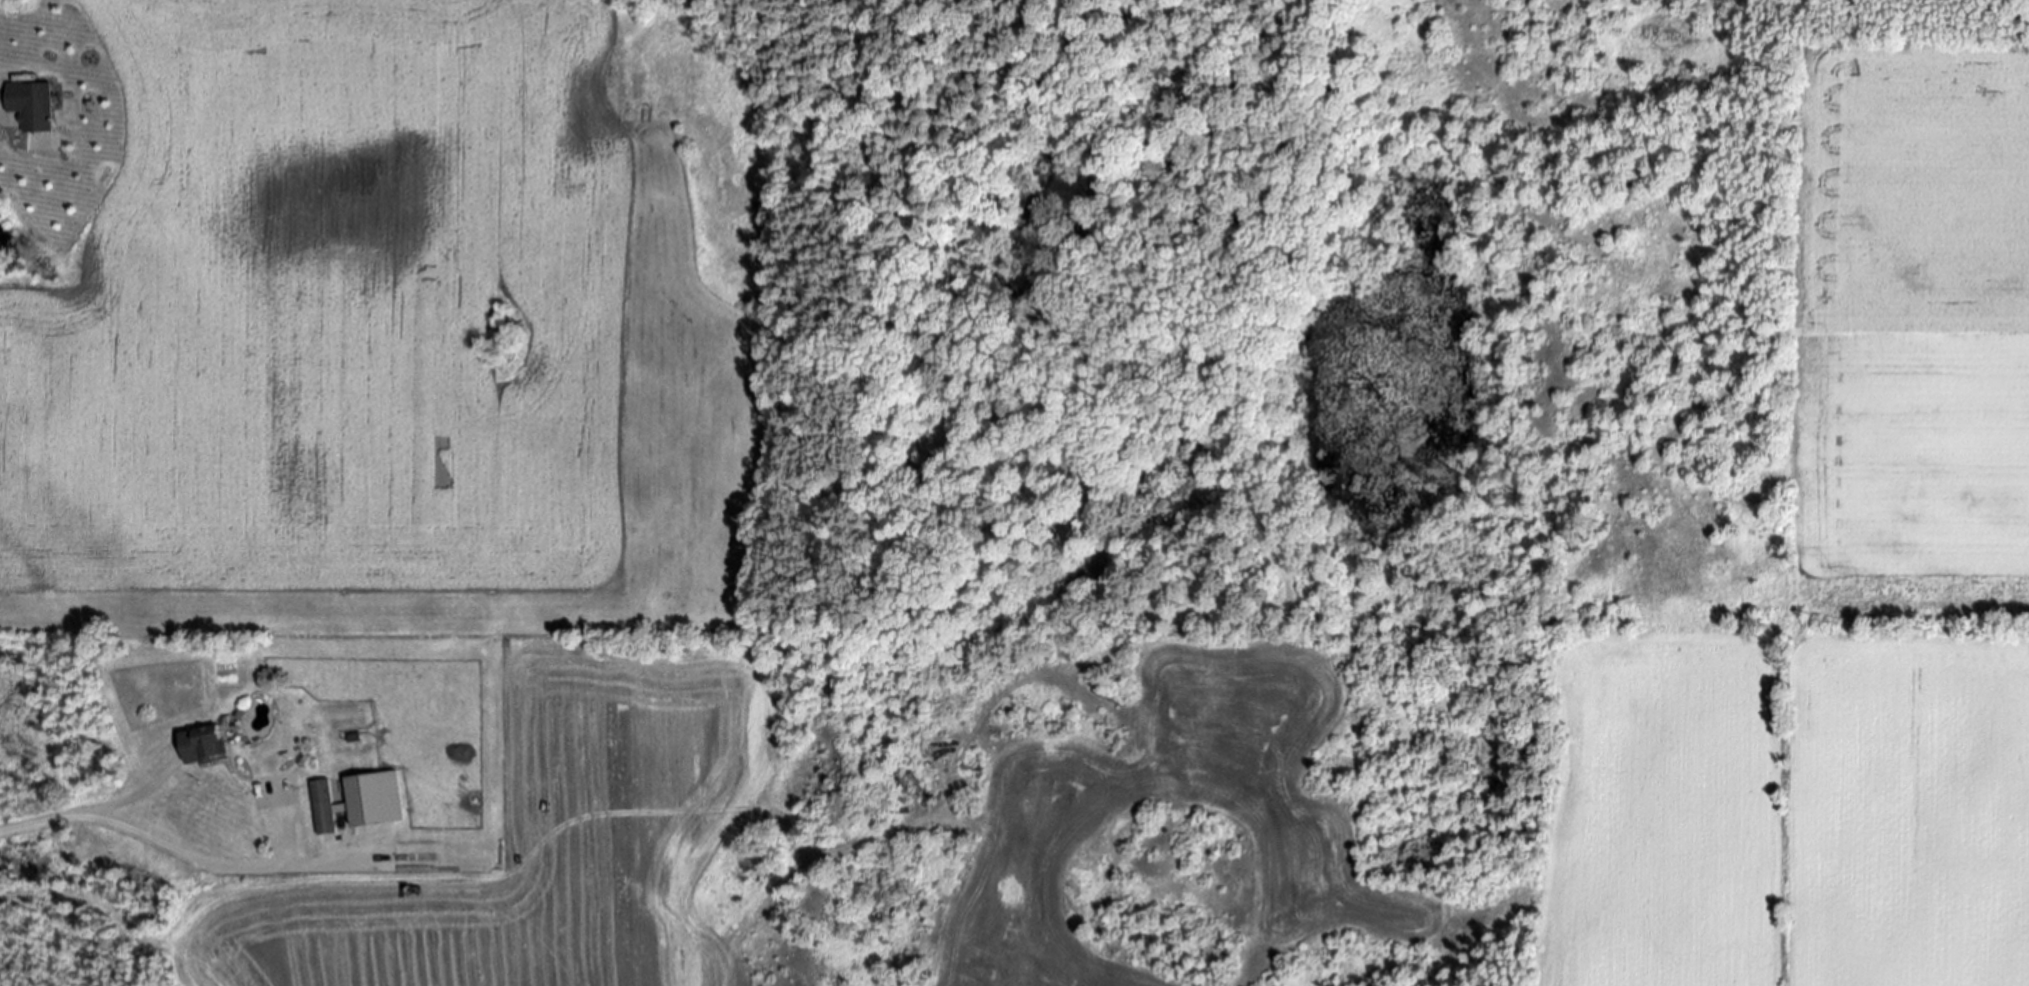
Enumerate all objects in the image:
building: (33, 106)
building: (202, 744)
road: (139, 785)
building: (357, 800)
road: (179, 841)

